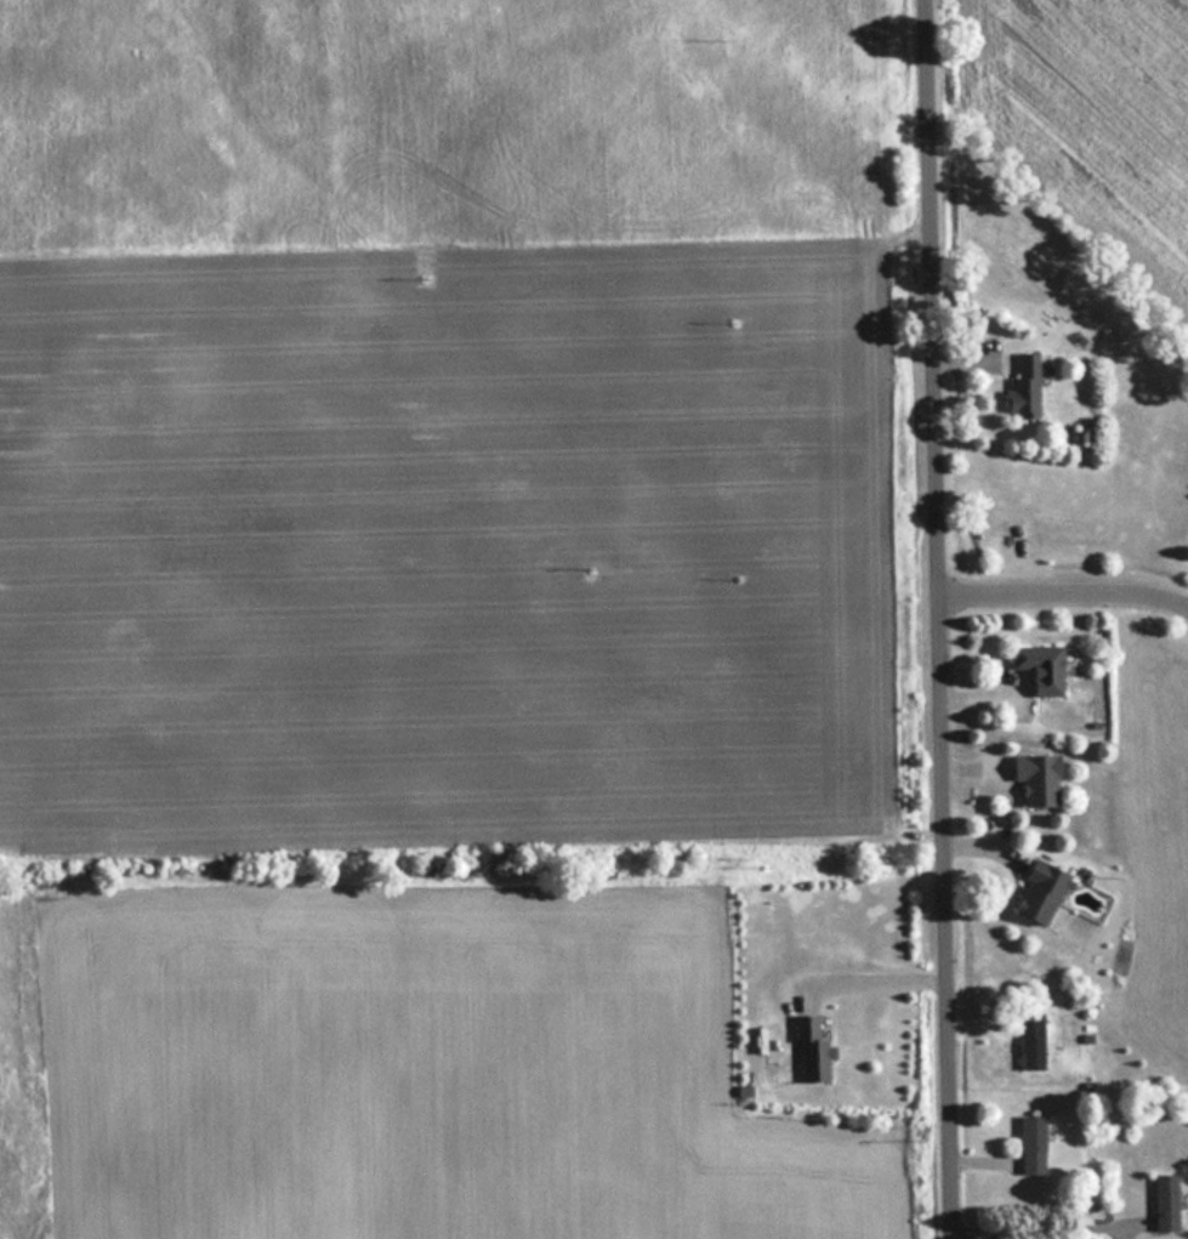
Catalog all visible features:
building: (1019, 388)
road: (1065, 597)
road: (940, 619)
building: (1035, 666)
building: (1031, 778)
building: (1033, 893)
road: (875, 981)
building: (807, 1050)
building: (1028, 1051)
building: (1027, 1144)
building: (1163, 1203)
road: (1048, 1223)

